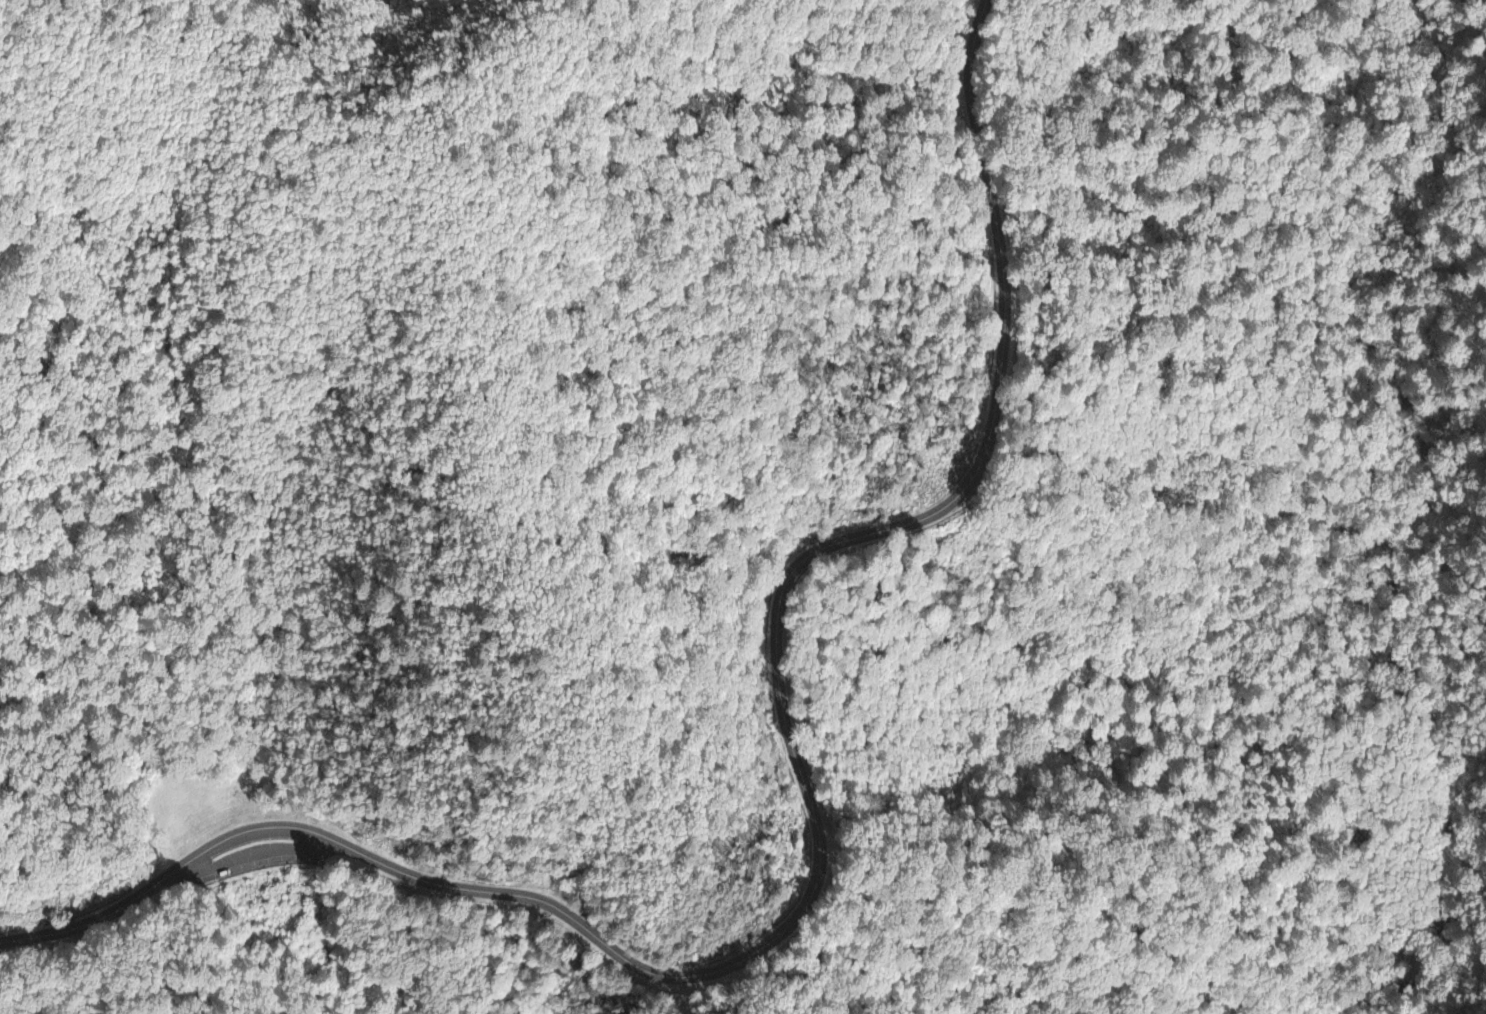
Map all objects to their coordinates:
road: (816, 833)
road: (257, 854)
parking lot: (259, 854)
parking lot: (247, 861)
road: (155, 928)

